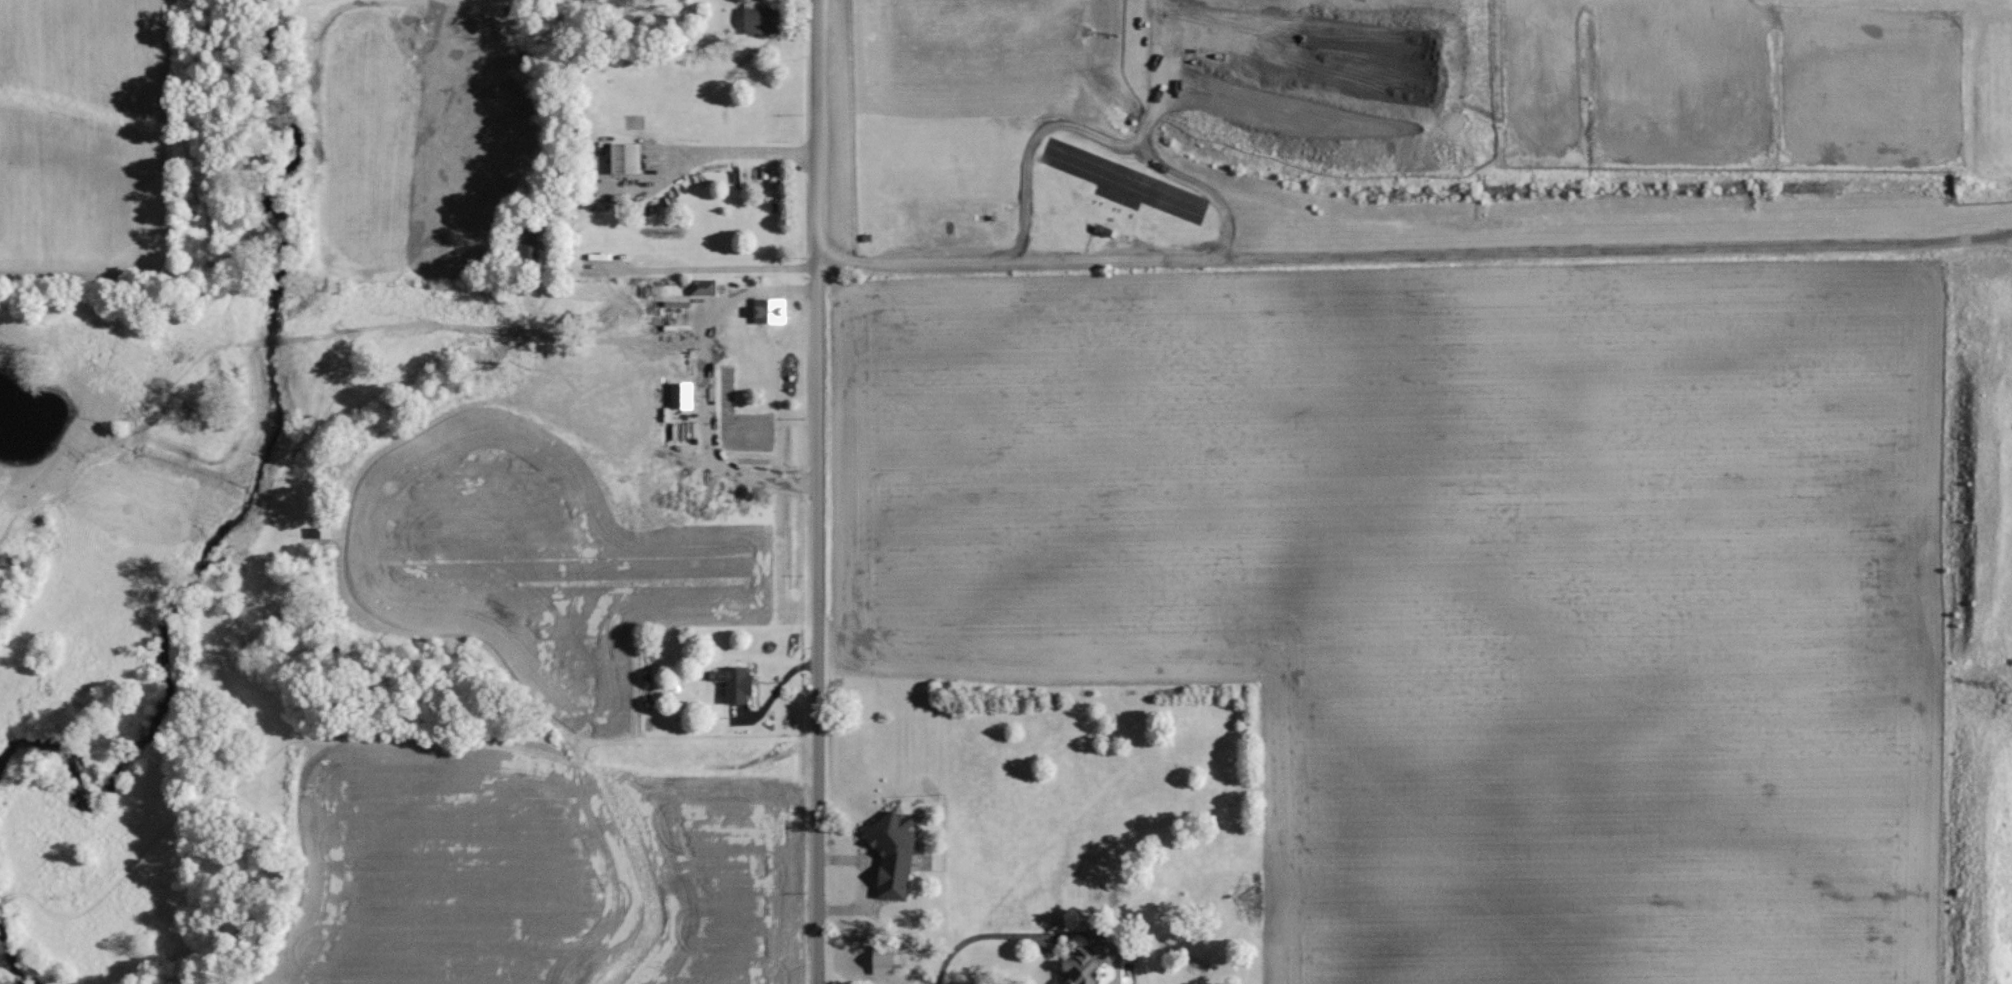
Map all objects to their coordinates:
building: (761, 19)
airport: (1762, 85)
road: (732, 150)
building: (624, 157)
building: (527, 241)
road: (960, 261)
road: (705, 272)
building: (702, 287)
building: (768, 310)
road: (705, 386)
building: (678, 394)
road: (814, 492)
building: (734, 683)
building: (890, 853)
road: (989, 937)
building: (1082, 964)

